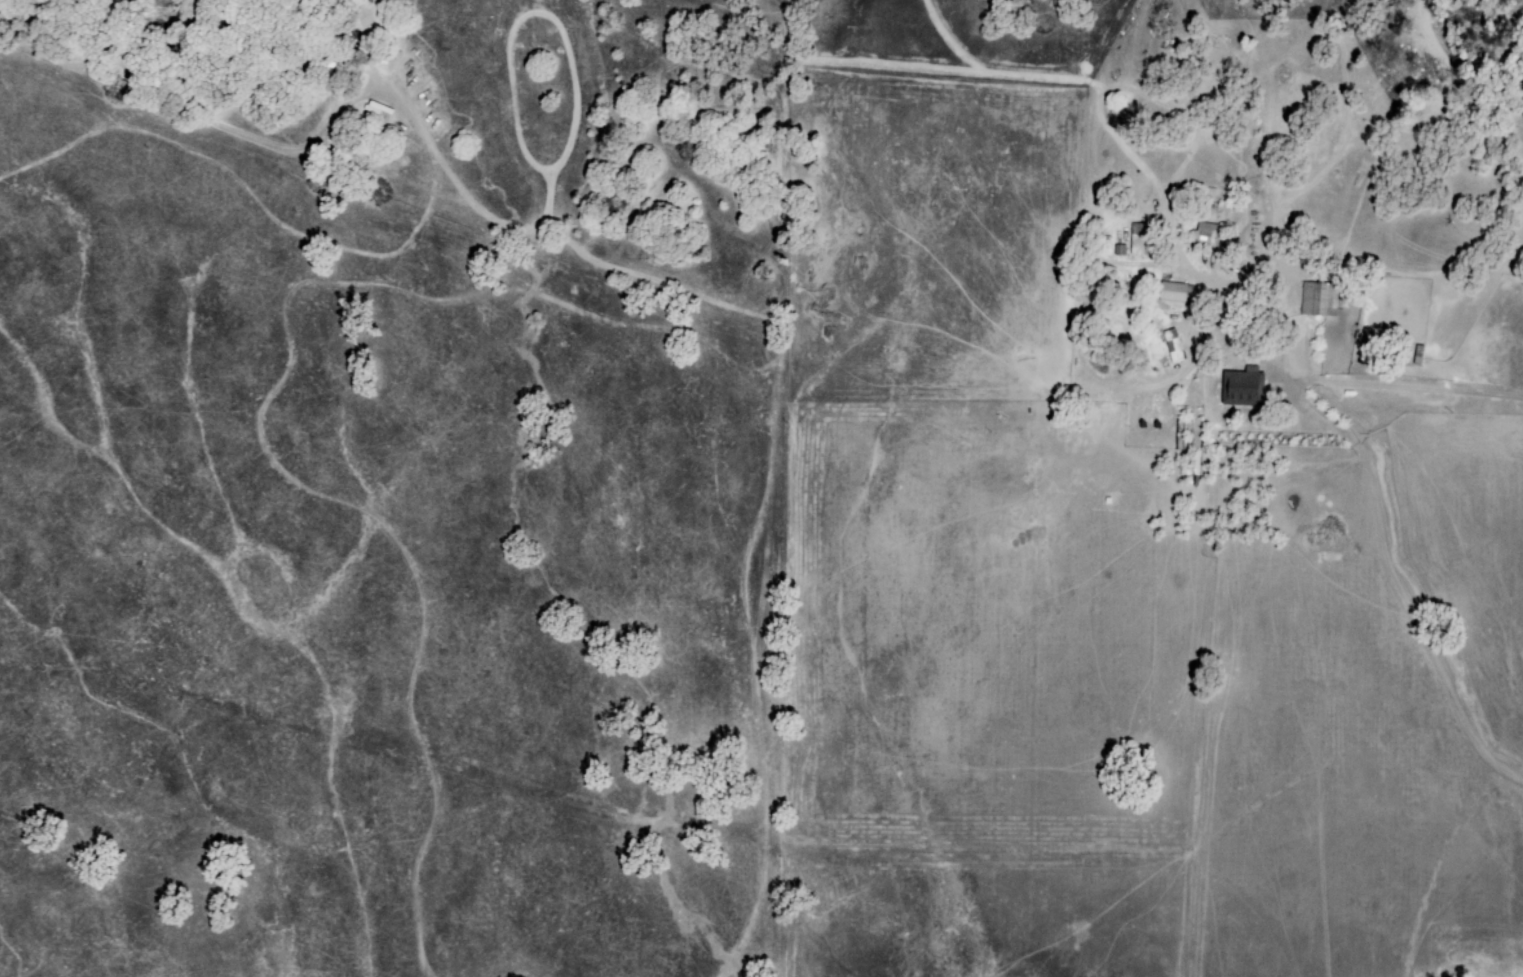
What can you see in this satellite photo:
building: (1137, 240)
building: (1175, 293)
building: (1316, 300)
building: (1173, 347)
building: (1242, 388)
road: (1373, 394)
road: (1229, 676)

